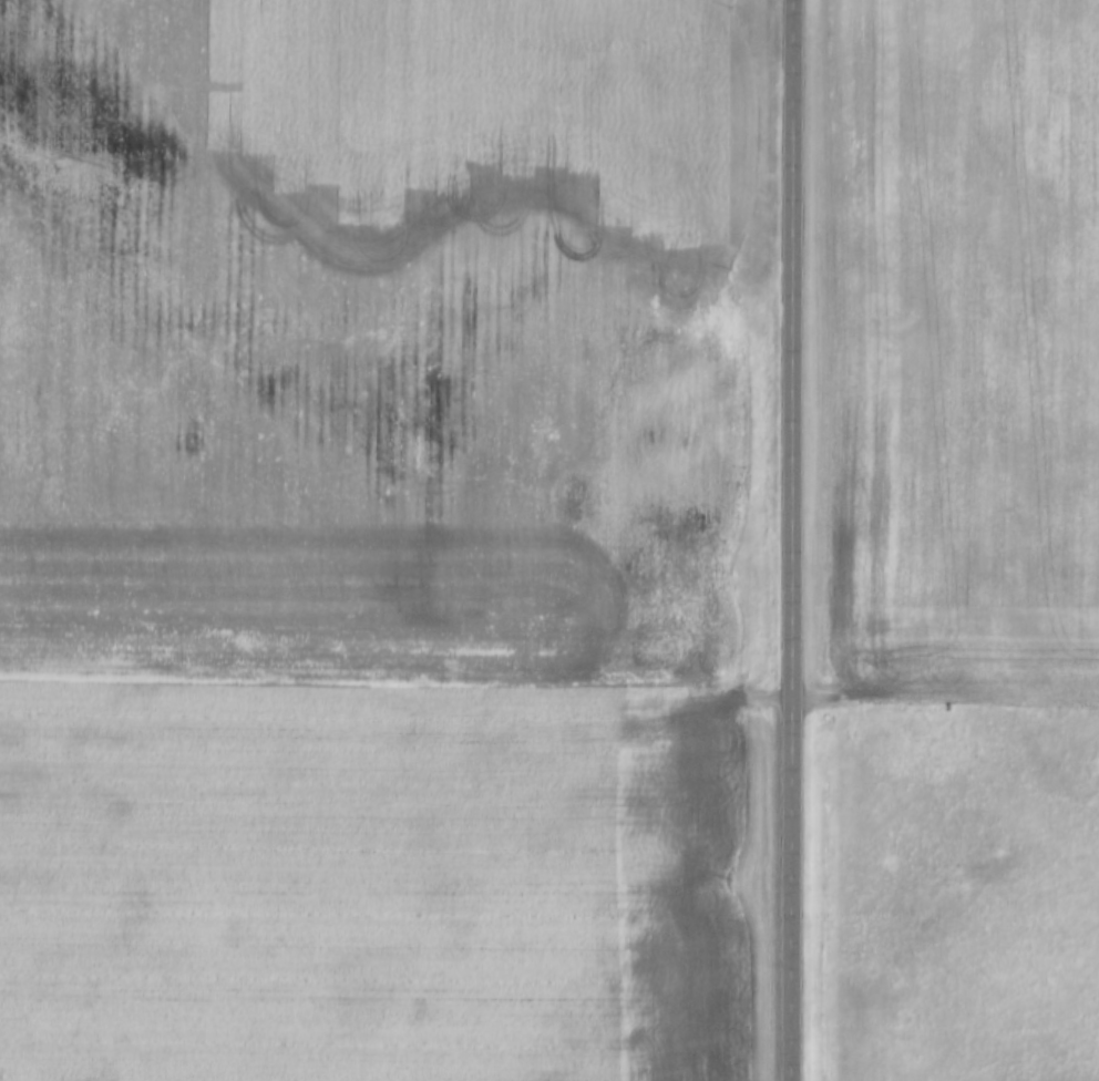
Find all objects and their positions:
road: (803, 540)

